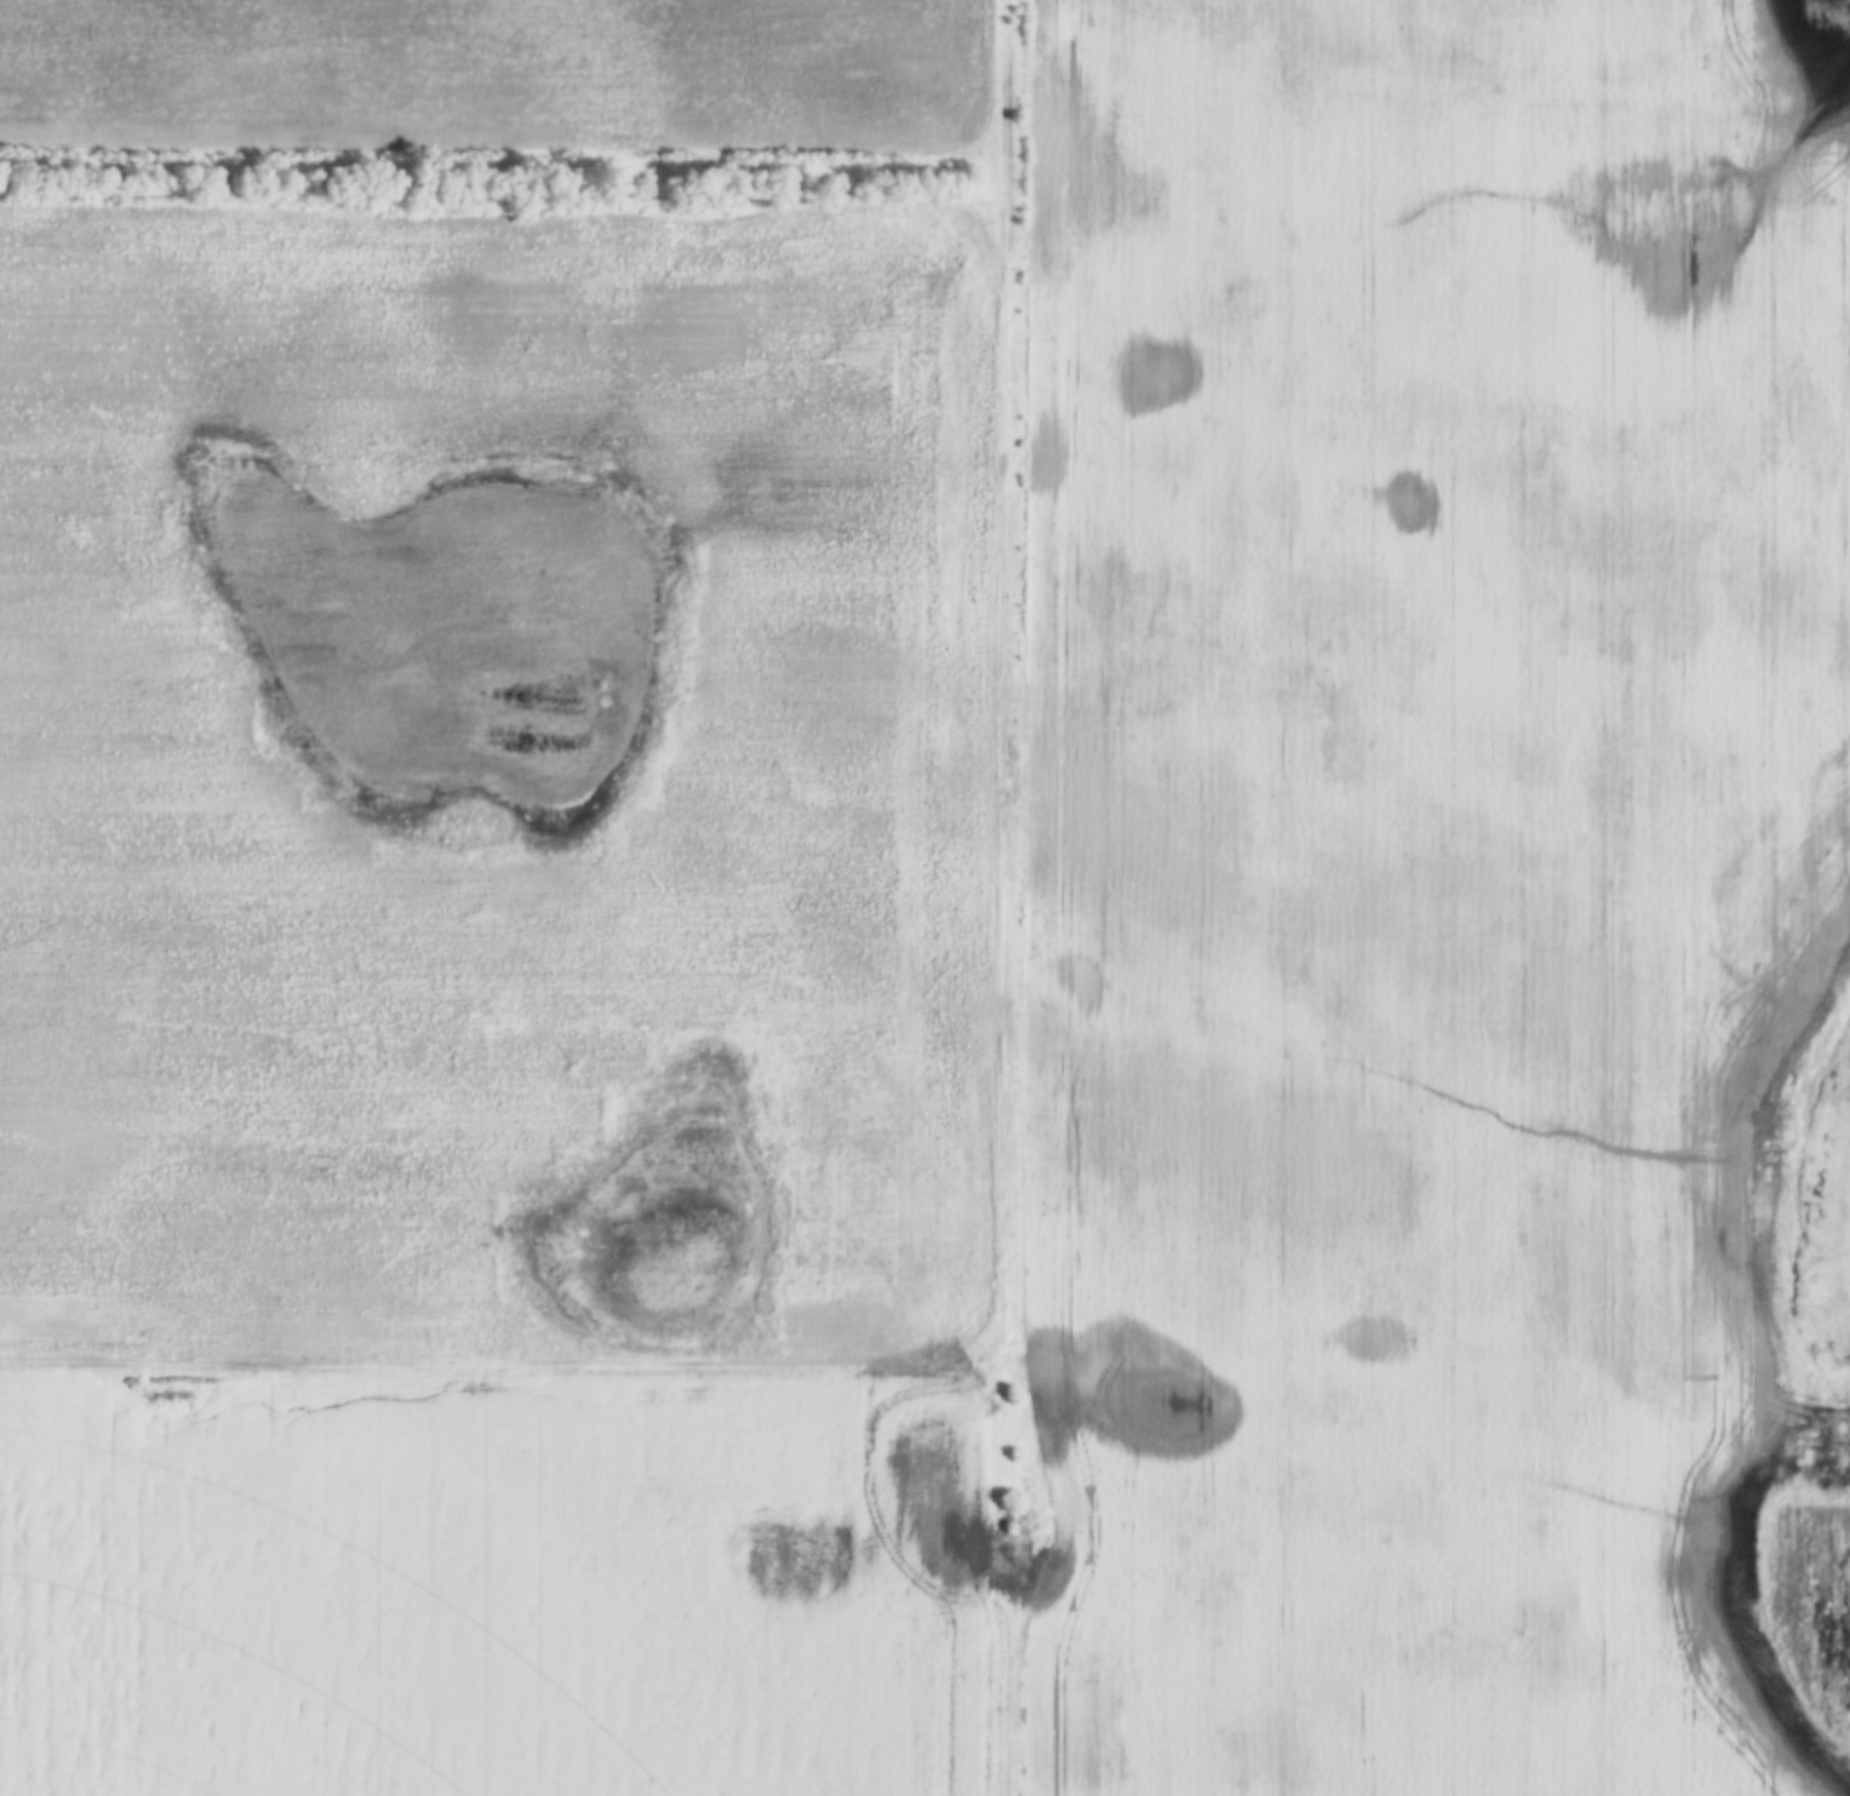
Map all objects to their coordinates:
crop: (1426, 895)
road: (995, 897)
road: (471, 1364)

